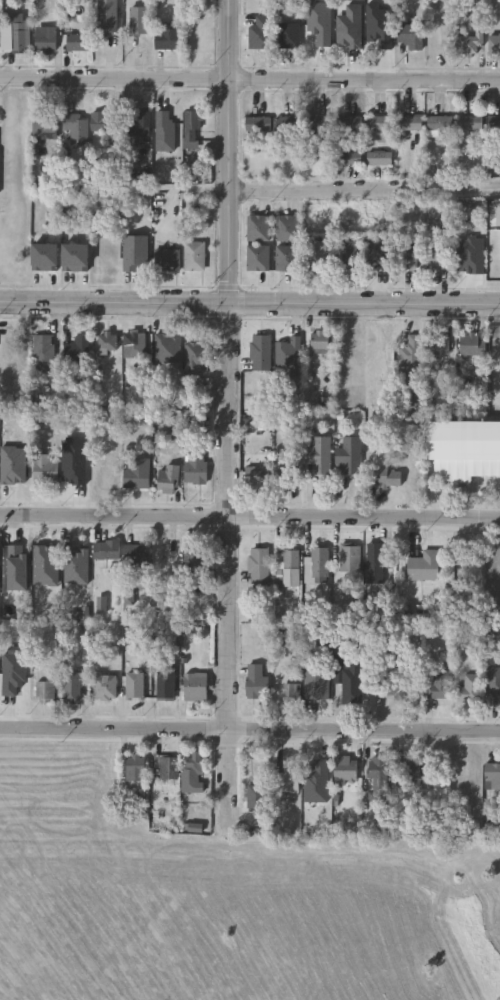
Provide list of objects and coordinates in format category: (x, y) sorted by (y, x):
building: (106, 17)
building: (138, 20)
building: (260, 32)
building: (16, 33)
building: (167, 35)
building: (410, 35)
building: (288, 36)
building: (46, 40)
building: (76, 42)
building: (469, 43)
building: (494, 45)
road: (249, 81)
building: (105, 122)
building: (140, 123)
building: (380, 123)
building: (441, 123)
building: (471, 123)
building: (46, 124)
building: (258, 124)
building: (289, 124)
building: (319, 124)
building: (348, 124)
building: (410, 124)
building: (495, 124)
building: (77, 127)
building: (192, 130)
building: (350, 158)
building: (380, 159)
road: (364, 190)
building: (259, 228)
building: (288, 228)
building: (440, 254)
building: (471, 254)
building: (319, 255)
building: (350, 255)
building: (46, 256)
building: (195, 256)
building: (77, 257)
building: (409, 257)
building: (259, 258)
building: (288, 258)
building: (167, 259)
road: (250, 304)
building: (320, 339)
building: (108, 341)
building: (135, 344)
building: (438, 344)
building: (473, 345)
building: (168, 348)
building: (78, 349)
building: (261, 352)
building: (289, 352)
building: (44, 353)
building: (411, 355)
building: (197, 357)
road: (226, 416)
building: (465, 449)
building: (320, 454)
building: (350, 454)
building: (45, 468)
building: (197, 469)
building: (137, 472)
building: (259, 474)
building: (286, 474)
building: (388, 475)
building: (169, 478)
road: (249, 517)
building: (107, 549)
building: (350, 556)
building: (375, 557)
building: (137, 558)
building: (195, 559)
building: (287, 559)
building: (319, 561)
building: (258, 565)
building: (424, 565)
building: (2, 569)
parking lot: (492, 576)
building: (348, 679)
building: (256, 681)
building: (493, 681)
building: (165, 684)
building: (135, 685)
building: (195, 685)
building: (392, 685)
building: (438, 685)
building: (105, 686)
building: (72, 687)
building: (468, 688)
building: (44, 691)
building: (291, 693)
road: (249, 731)
building: (135, 767)
building: (168, 767)
building: (313, 767)
building: (345, 768)
building: (192, 772)
building: (379, 775)
building: (408, 775)
building: (492, 776)
building: (289, 779)
building: (257, 796)

